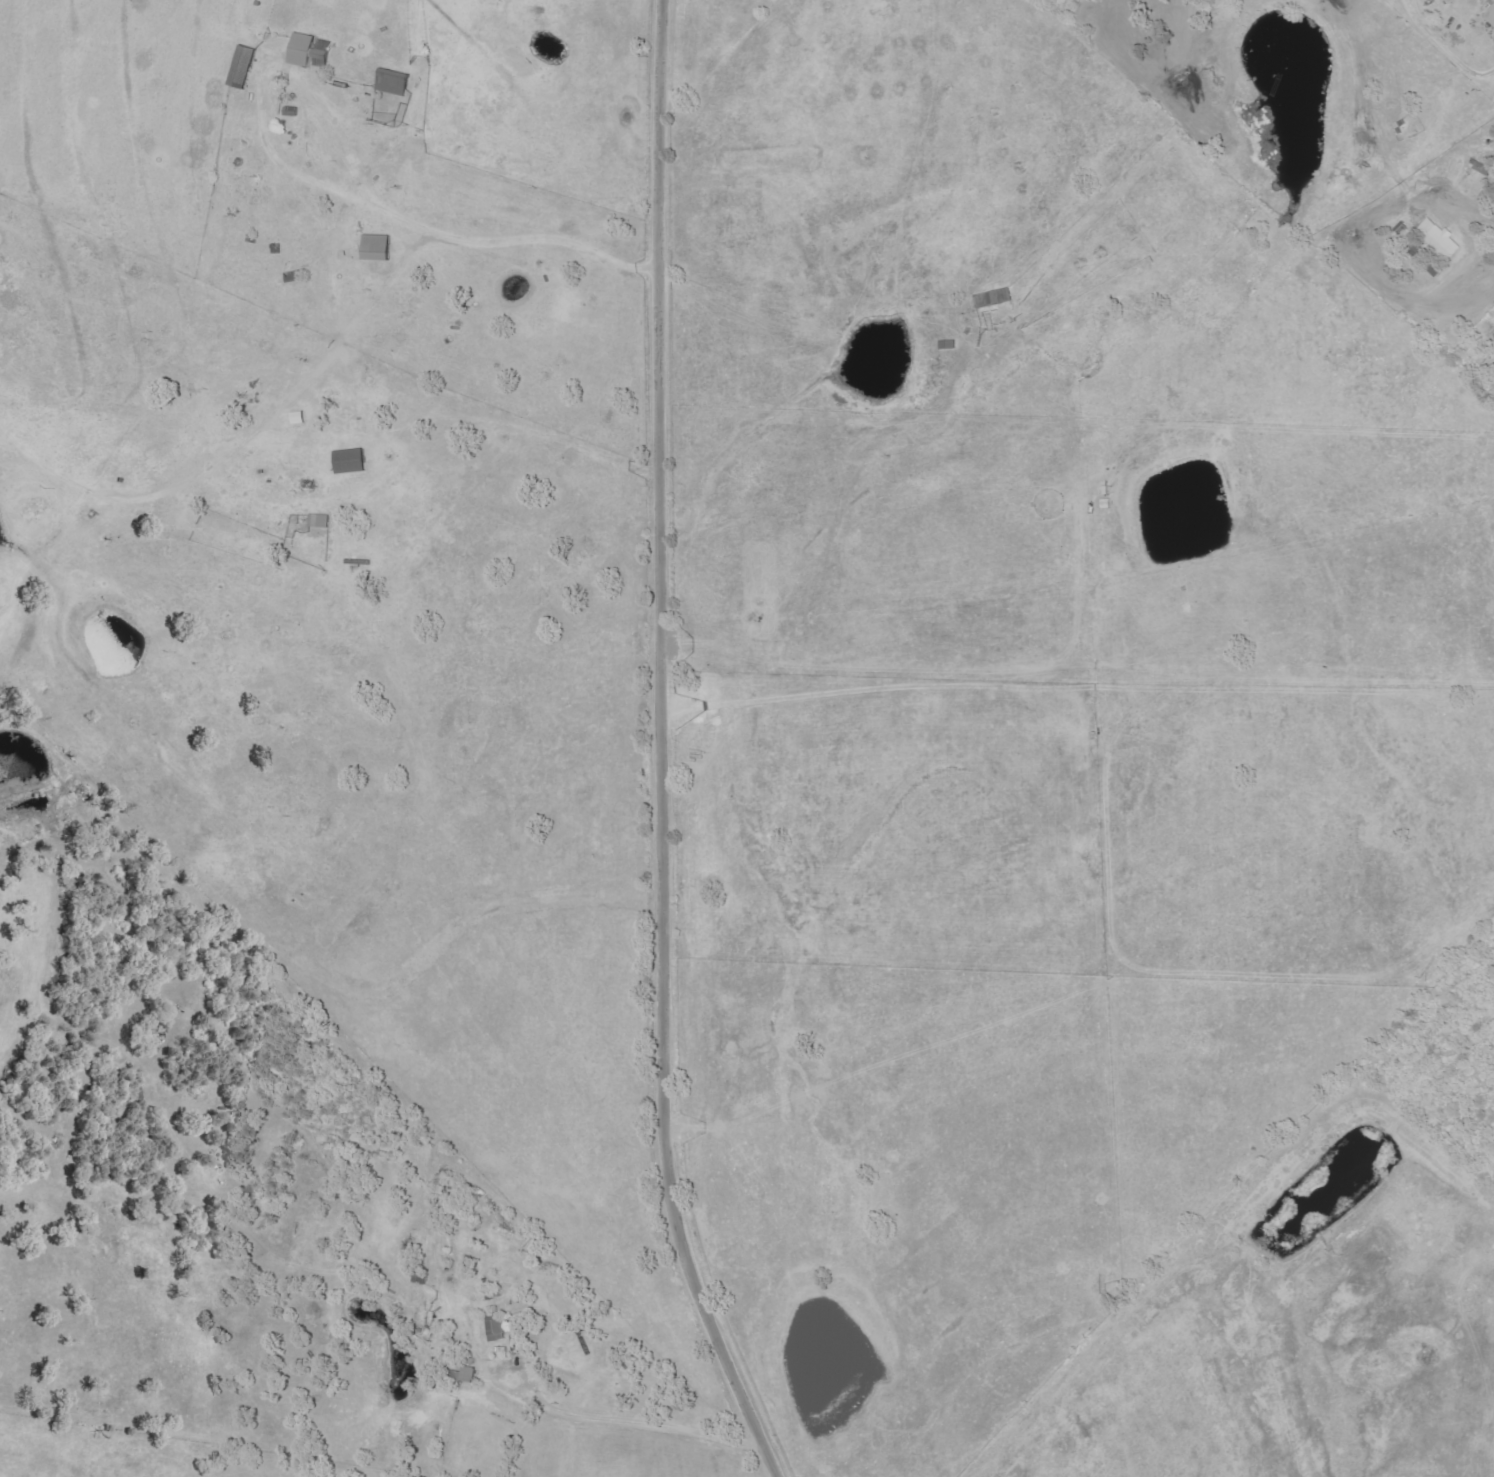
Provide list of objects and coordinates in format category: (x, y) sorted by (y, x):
building: (1491, 15)
road: (1443, 49)
building: (309, 50)
building: (244, 67)
building: (393, 82)
building: (291, 112)
road: (1410, 206)
road: (1473, 207)
building: (1440, 238)
road: (455, 247)
building: (378, 248)
building: (993, 299)
building: (949, 345)
building: (352, 461)
building: (320, 521)
road: (660, 749)
building: (497, 1331)
building: (465, 1376)
road: (588, 1414)

